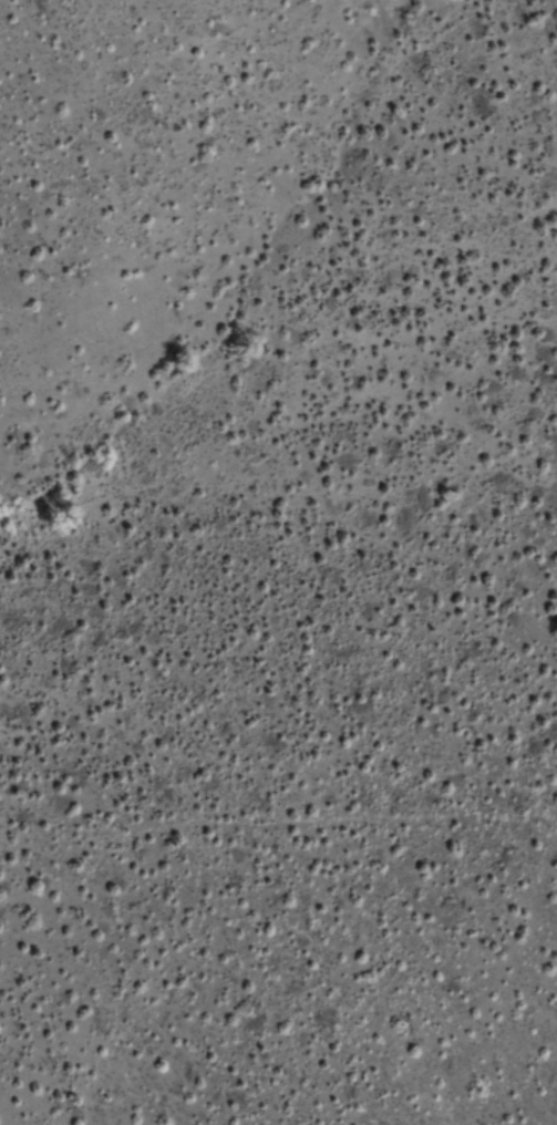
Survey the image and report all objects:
road: (278, 813)

